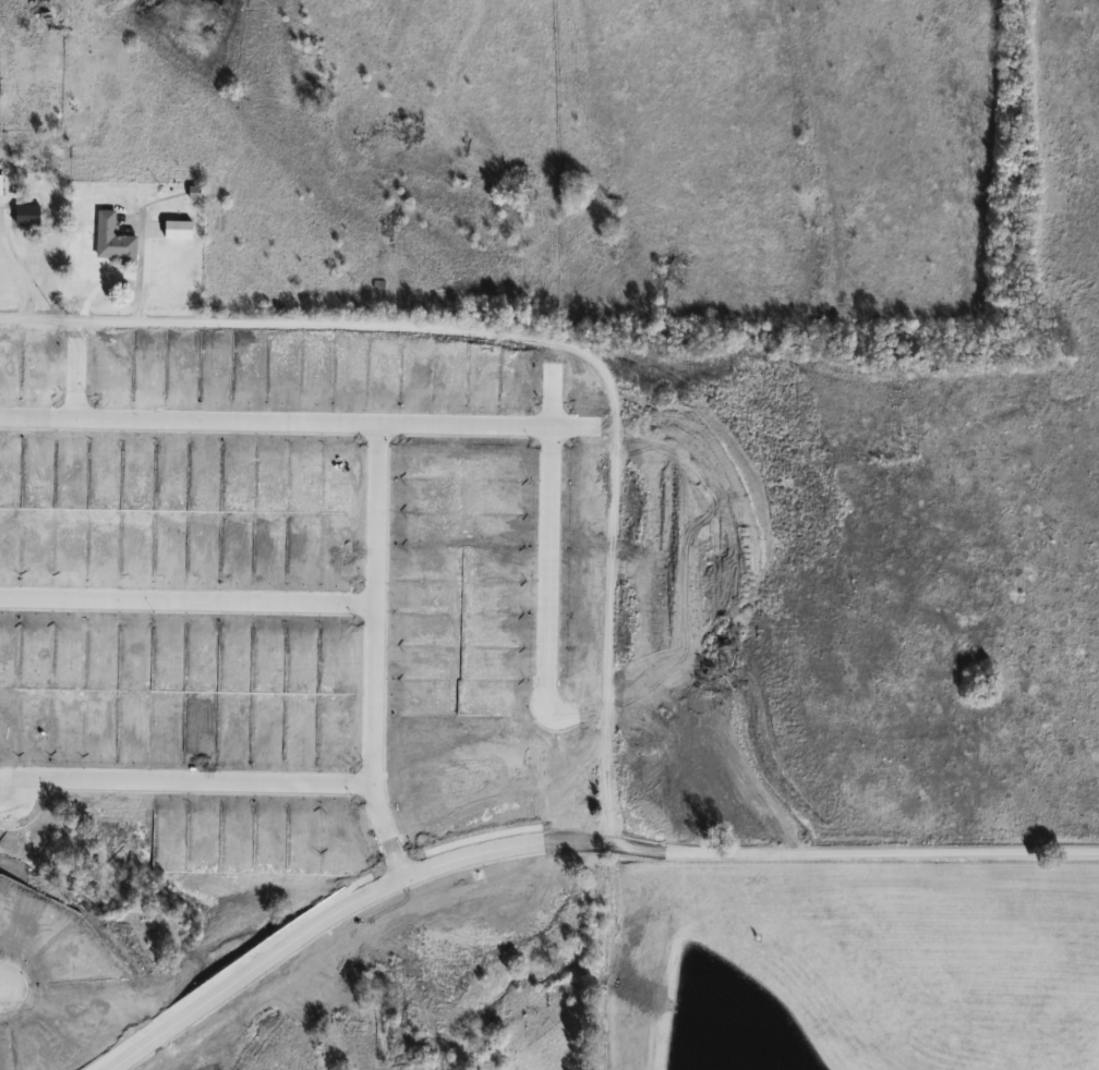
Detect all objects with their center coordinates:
building: (41, 9)
building: (1, 185)
building: (28, 216)
building: (114, 240)
road: (72, 377)
road: (315, 423)
road: (548, 527)
road: (186, 599)
road: (372, 669)
road: (675, 722)
road: (185, 783)
road: (885, 852)
road: (370, 893)
road: (398, 913)

